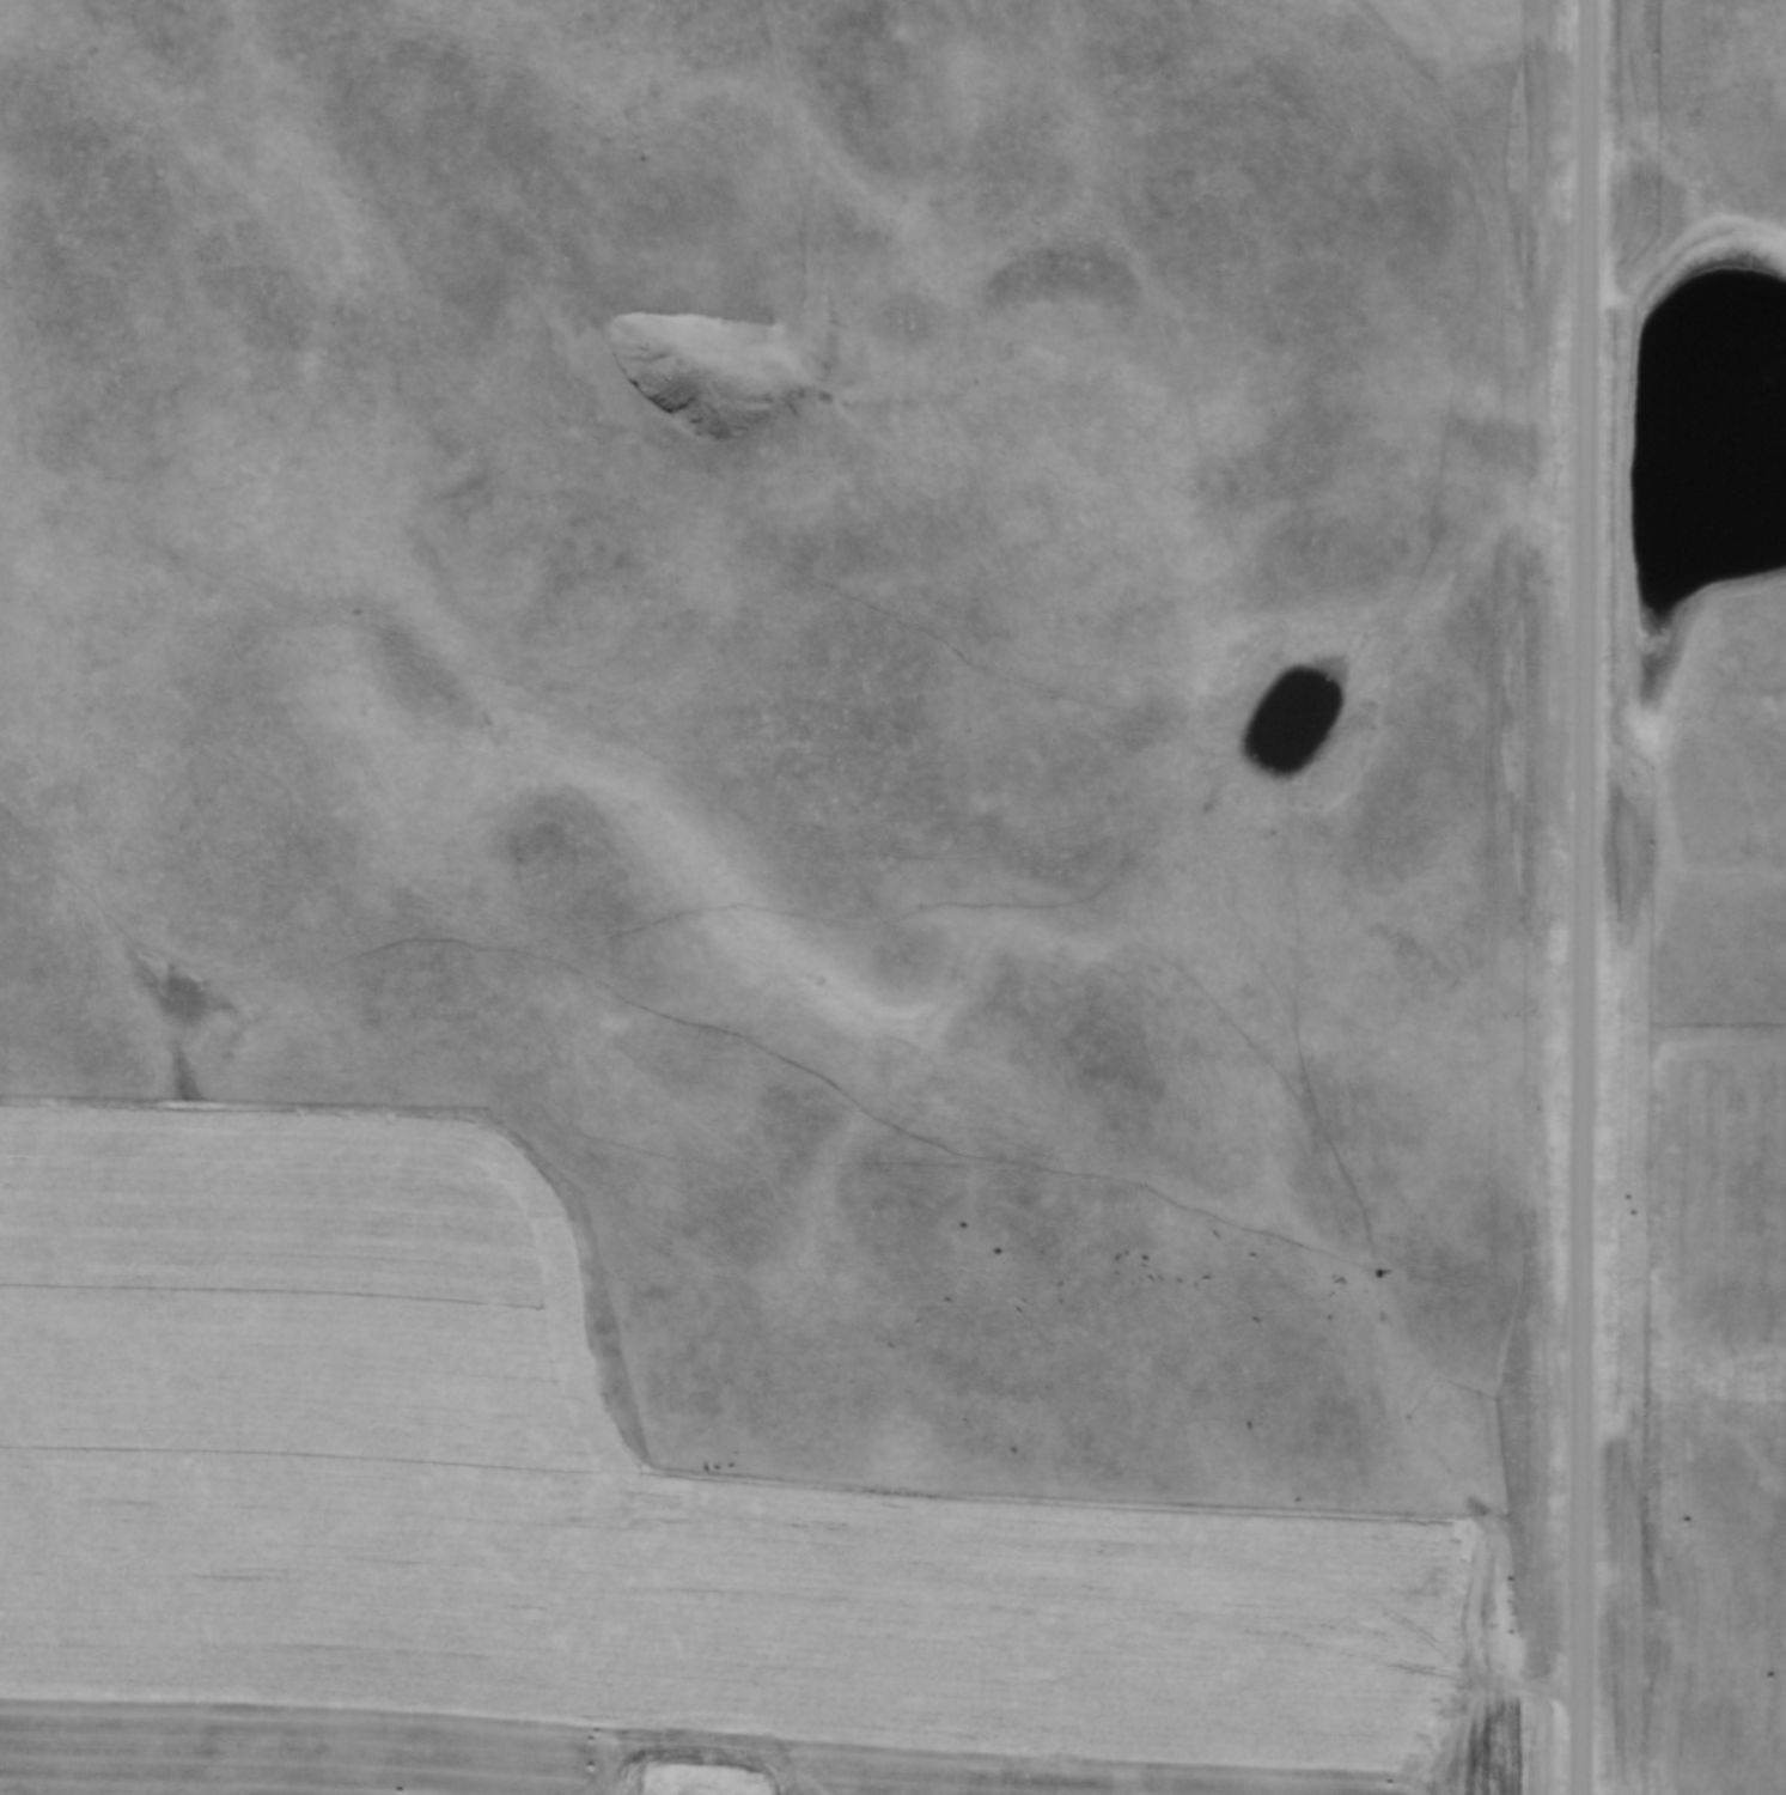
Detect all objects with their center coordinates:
road: (812, 224)
quarry: (723, 375)
road: (1587, 896)
road: (799, 1517)

